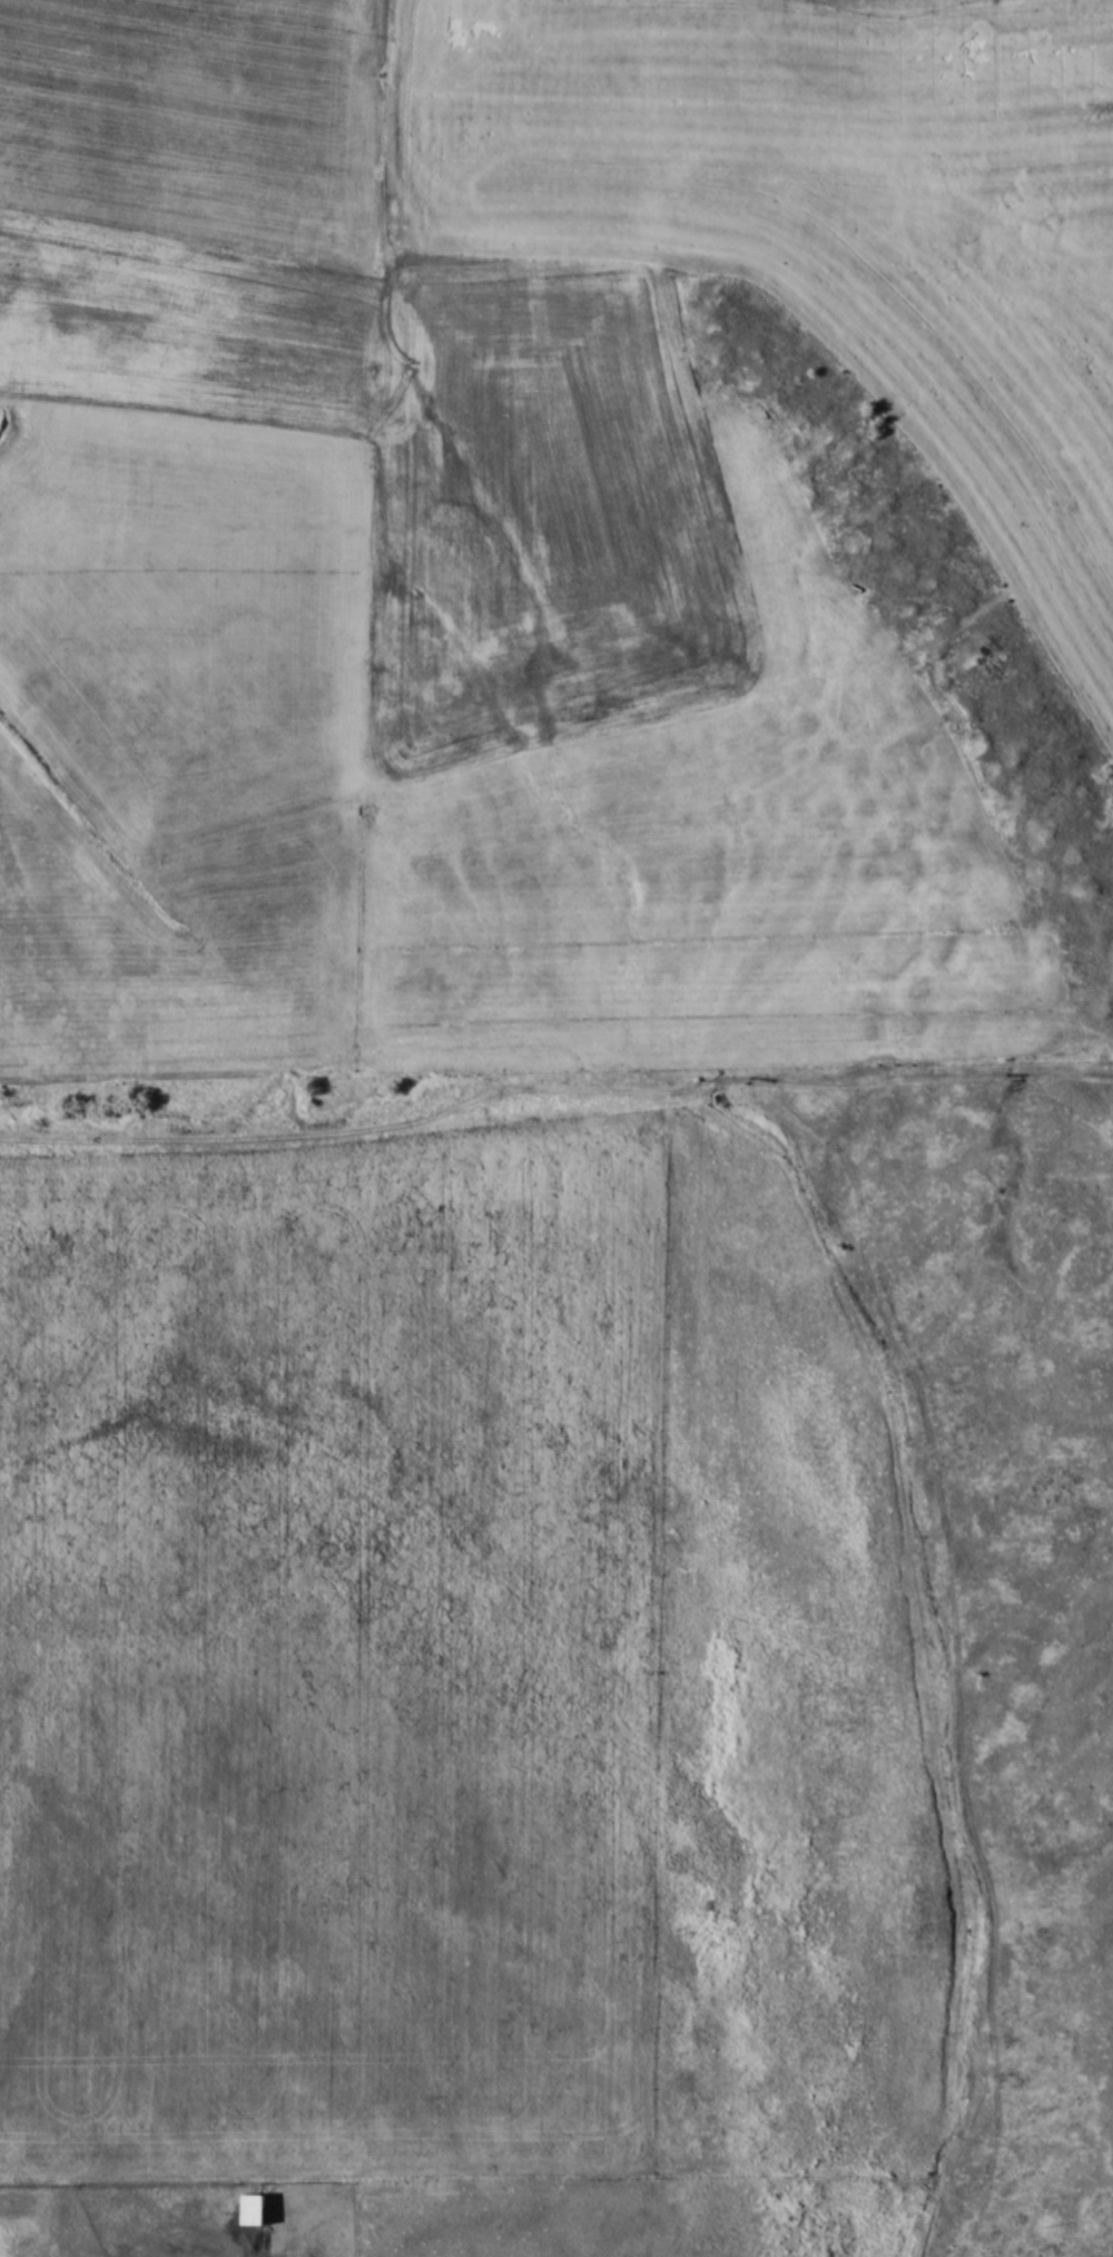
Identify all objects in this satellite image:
road: (554, 1091)

